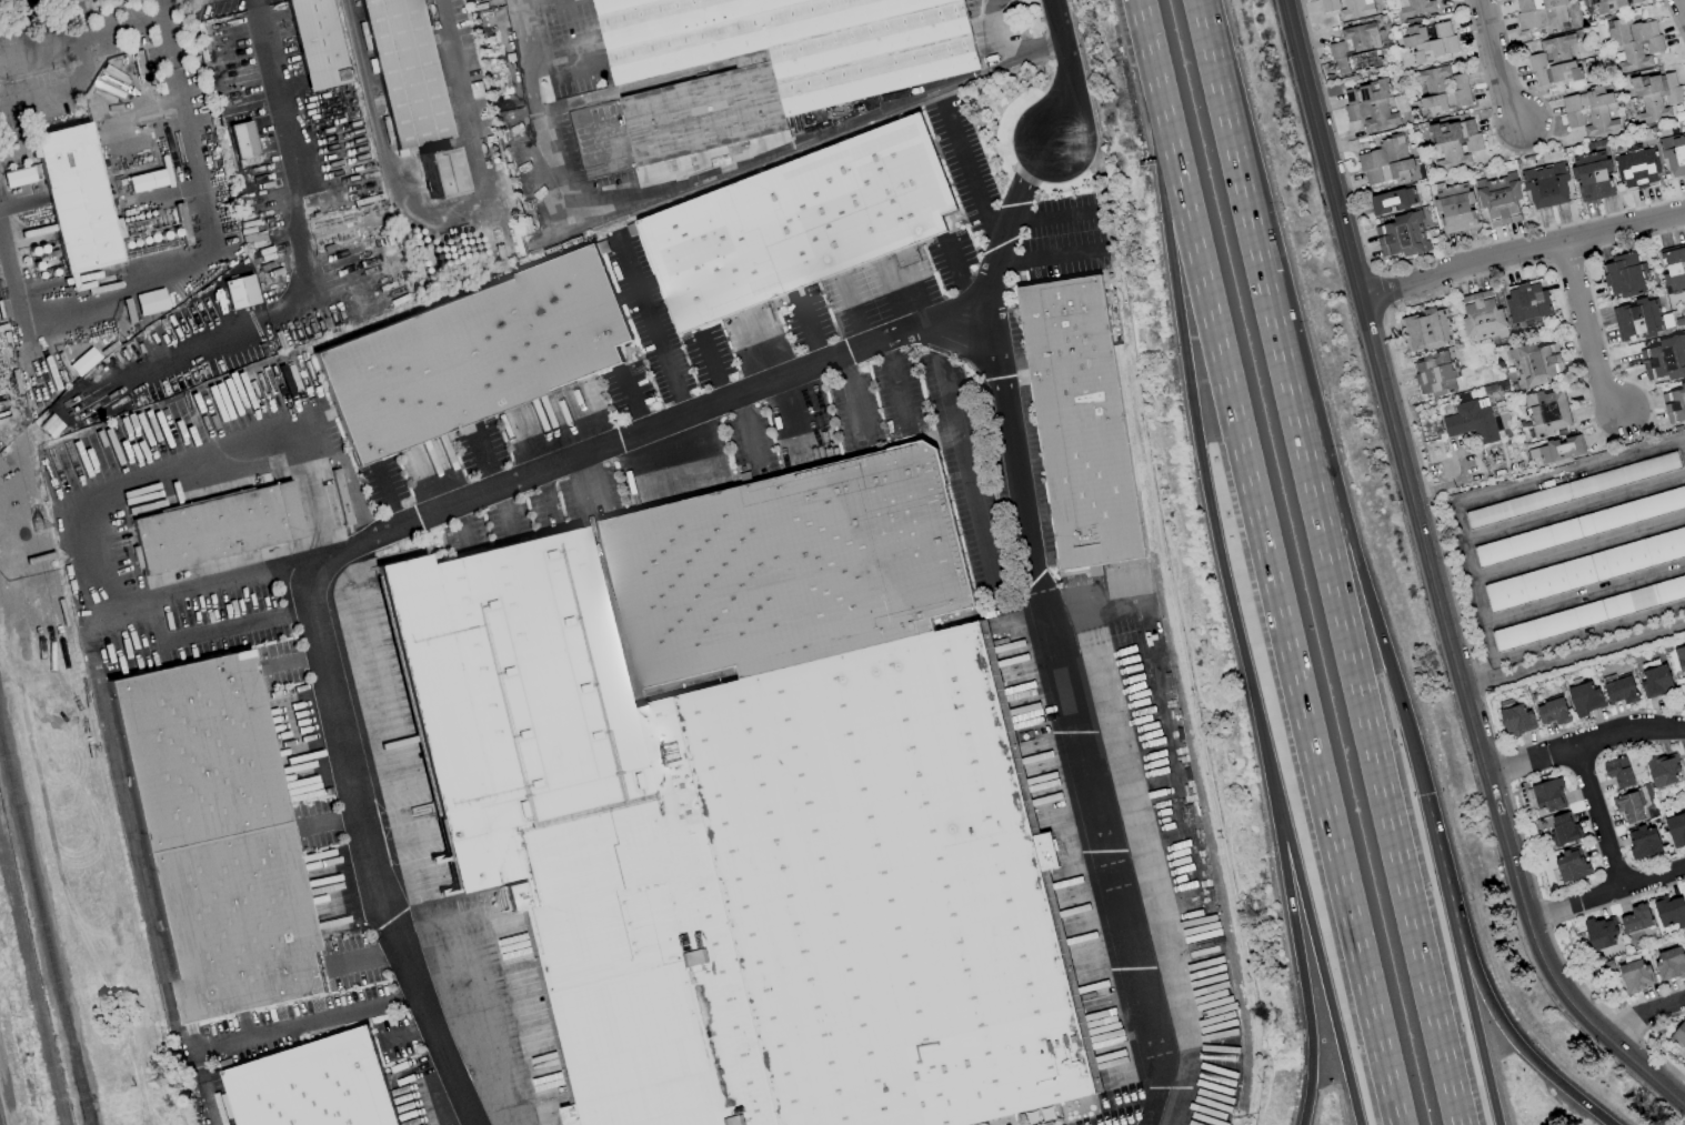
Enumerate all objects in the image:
road: (546, 2)
building: (1614, 4)
road: (1681, 6)
building: (1414, 7)
building: (1347, 8)
building: (1541, 14)
road: (129, 22)
road: (164, 31)
road: (996, 31)
building: (1430, 41)
building: (317, 42)
building: (1634, 42)
road: (40, 44)
building: (1355, 50)
road: (565, 56)
building: (1553, 62)
building: (772, 64)
road: (1493, 64)
building: (404, 71)
road: (1070, 71)
road: (72, 77)
building: (1442, 89)
building: (1655, 97)
building: (1368, 106)
building: (1588, 111)
road: (1227, 113)
road: (313, 137)
building: (242, 139)
building: (1454, 143)
building: (1673, 153)
building: (1636, 169)
road: (716, 172)
road: (969, 175)
building: (1592, 175)
building: (1545, 184)
building: (78, 192)
building: (1498, 199)
building: (1392, 201)
building: (1454, 208)
road: (1054, 217)
road: (441, 222)
building: (799, 225)
building: (1401, 235)
road: (300, 244)
building: (903, 255)
road: (1522, 255)
road: (1050, 258)
building: (1673, 270)
road: (956, 273)
building: (1623, 275)
road: (151, 281)
building: (240, 291)
road: (892, 294)
building: (150, 301)
building: (1526, 302)
road: (853, 312)
building: (1481, 318)
building: (1637, 319)
road: (650, 325)
road: (809, 330)
building: (1425, 330)
road: (1584, 331)
road: (1182, 344)
building: (474, 355)
road: (761, 358)
building: (1664, 359)
building: (1534, 363)
road: (712, 364)
building: (1433, 373)
road: (895, 384)
road: (853, 396)
road: (634, 399)
building: (1674, 404)
building: (1546, 412)
road: (799, 414)
building: (1471, 421)
building: (1079, 422)
road: (744, 430)
building: (1559, 449)
road: (962, 454)
road: (483, 456)
road: (104, 483)
road: (1490, 489)
building: (1572, 490)
road: (389, 494)
road: (546, 495)
road: (1575, 508)
road: (505, 509)
road: (1338, 509)
power tower: (37, 518)
road: (463, 523)
building: (1579, 526)
building: (219, 529)
road: (371, 534)
road: (1579, 546)
road: (1268, 562)
building: (1584, 570)
road: (1435, 577)
road: (1585, 593)
building: (1588, 613)
road: (614, 623)
road: (217, 630)
road: (1051, 630)
road: (1572, 636)
road: (1575, 655)
road: (298, 660)
building: (1679, 660)
road: (1358, 675)
building: (1655, 682)
building: (1618, 689)
building: (1584, 699)
building: (1552, 712)
building: (1514, 717)
road: (1585, 743)
building: (1663, 770)
building: (1618, 772)
road: (391, 787)
building: (1547, 795)
building: (753, 806)
building: (1628, 806)
road: (1596, 818)
road: (334, 820)
building: (1676, 828)
building: (1563, 830)
building: (225, 838)
building: (1642, 842)
road: (403, 844)
road: (134, 845)
road: (1436, 864)
building: (1569, 864)
road: (1607, 894)
road: (1287, 904)
road: (1303, 905)
building: (1669, 912)
building: (1635, 918)
railway: (44, 927)
building: (1599, 933)
road: (410, 934)
traffic signals: (1454, 934)
building: (1669, 963)
building: (1635, 976)
road: (1645, 1018)
road: (305, 1025)
road: (1475, 1029)
building: (1679, 1034)
road: (1512, 1043)
power tower: (162, 1073)
building: (319, 1082)
road: (209, 1104)

